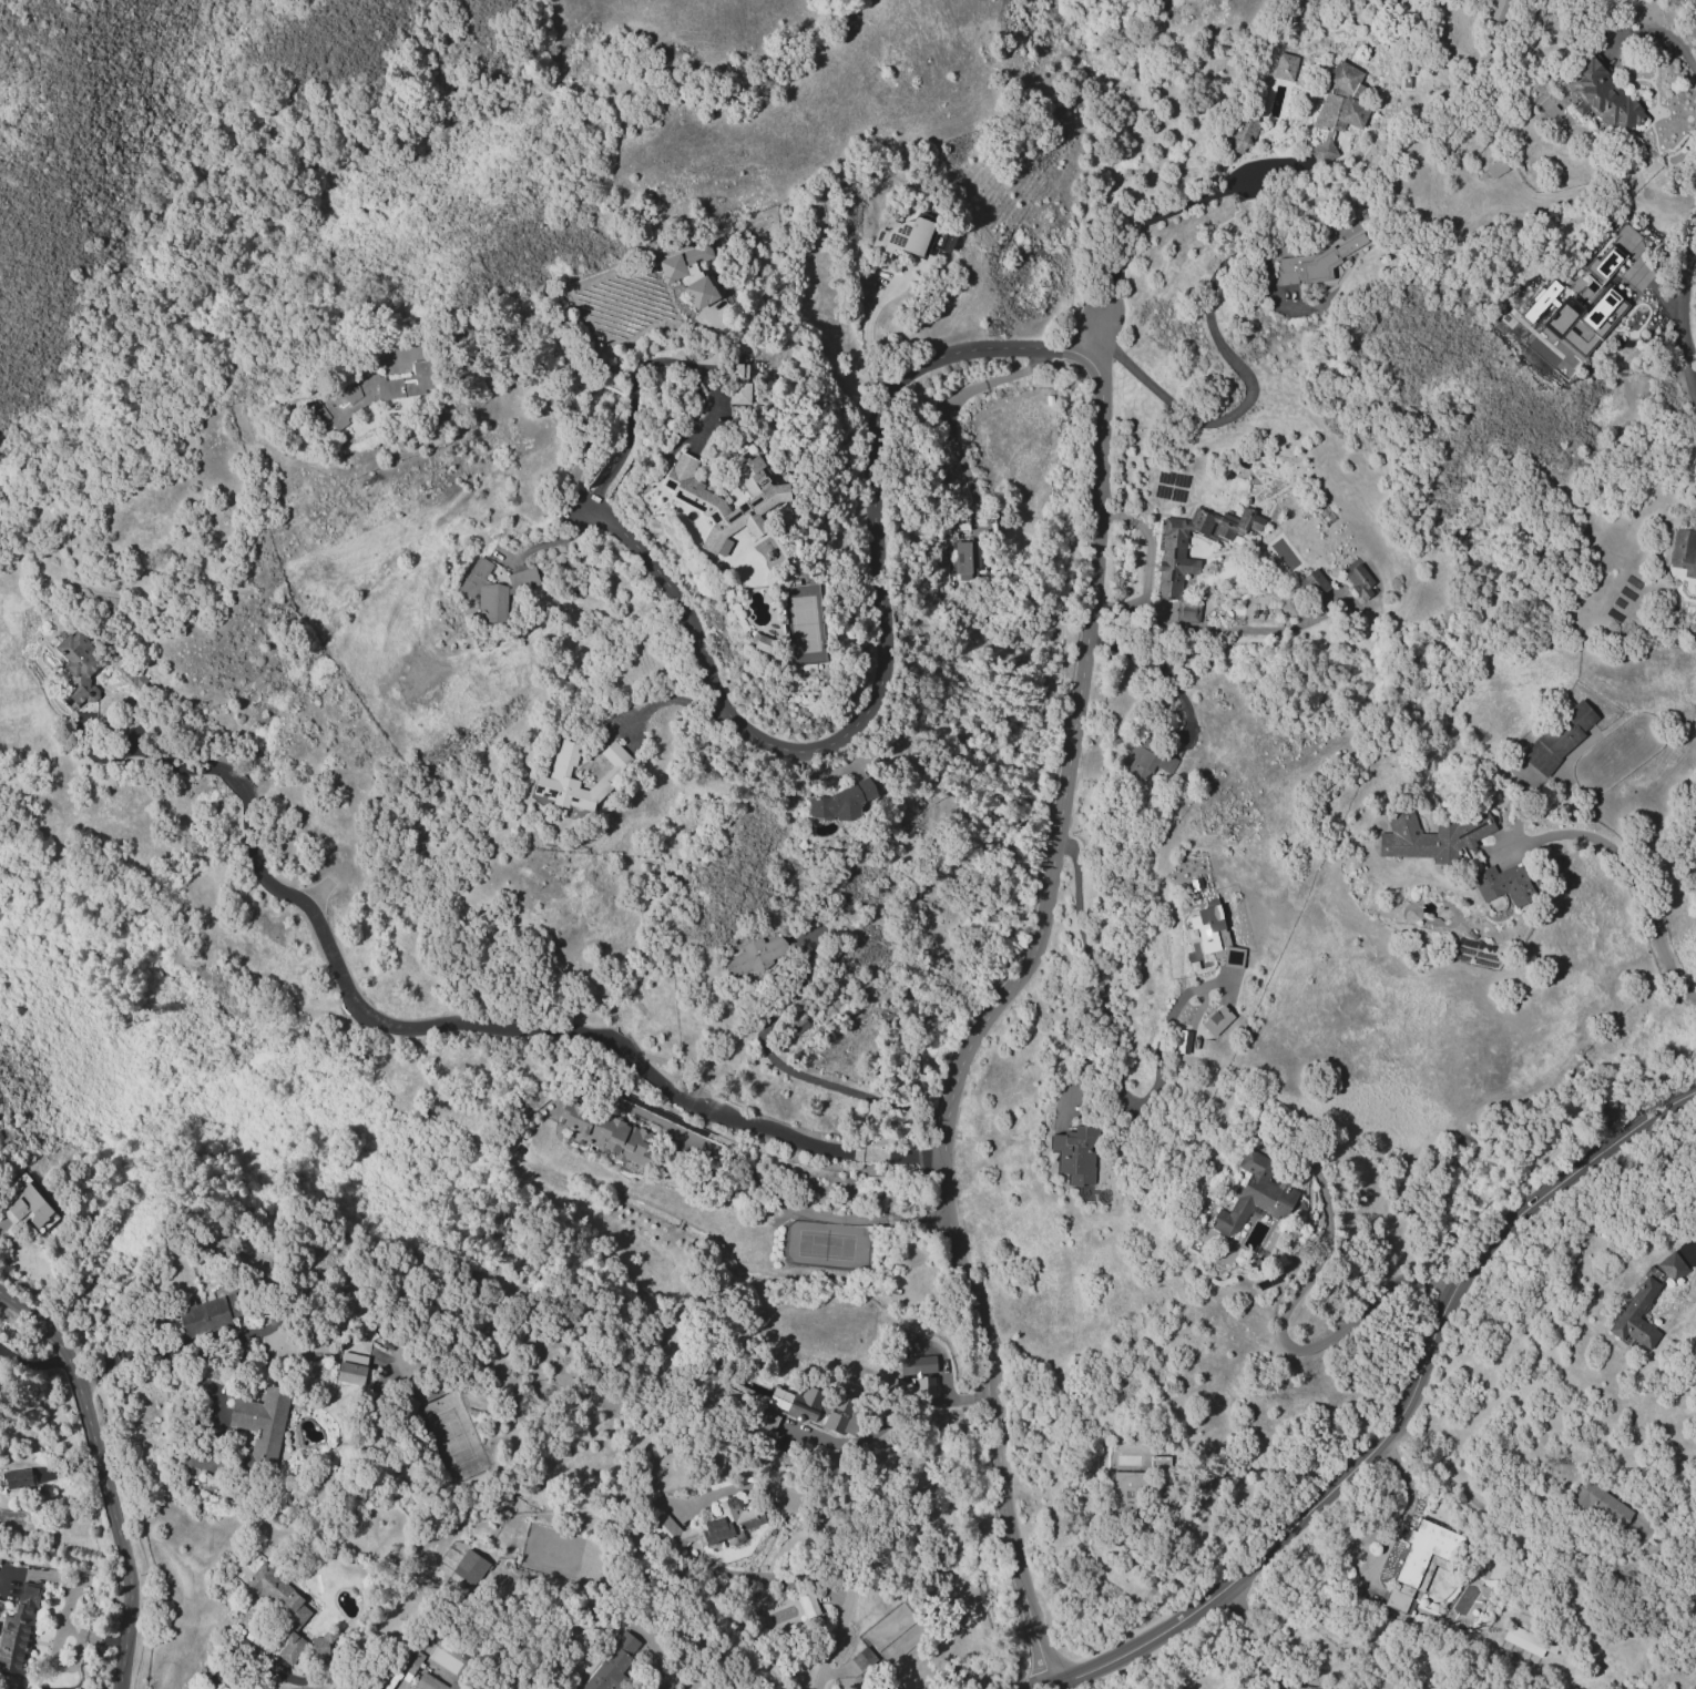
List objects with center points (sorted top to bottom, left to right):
building: (1496, 10)
road: (1682, 12)
road: (1652, 31)
building: (1284, 67)
road: (1118, 89)
building: (1602, 95)
building: (1336, 110)
building: (1240, 134)
building: (1494, 167)
road: (1144, 217)
building: (902, 236)
building: (947, 242)
building: (1611, 254)
building: (682, 262)
building: (1316, 263)
building: (699, 292)
building: (1539, 301)
road: (1682, 316)
building: (1580, 327)
road: (866, 328)
building: (737, 384)
building: (367, 395)
road: (629, 396)
road: (1248, 398)
road: (948, 409)
building: (758, 502)
road: (550, 542)
building: (1684, 552)
building: (964, 559)
building: (1177, 566)
building: (522, 579)
building: (1359, 582)
building: (1311, 583)
building: (483, 592)
road: (1218, 628)
building: (763, 644)
road: (883, 654)
building: (78, 668)
road: (1156, 672)
road: (666, 701)
building: (1560, 736)
building: (558, 775)
building: (840, 802)
building: (1430, 836)
road: (1635, 881)
building: (1503, 884)
building: (1213, 934)
building: (755, 957)
road: (1094, 968)
road: (990, 1008)
building: (1216, 1020)
road: (446, 1021)
road: (1163, 1031)
building: (1182, 1041)
road: (815, 1080)
building: (610, 1136)
building: (1076, 1158)
road: (772, 1192)
building: (1253, 1195)
building: (27, 1207)
road: (1690, 1250)
building: (1671, 1266)
building: (207, 1314)
building: (1635, 1315)
road: (1286, 1345)
road: (150, 1357)
building: (350, 1369)
building: (919, 1372)
building: (816, 1407)
road: (889, 1416)
road: (1394, 1416)
building: (765, 1421)
building: (260, 1424)
road: (1491, 1436)
road: (105, 1476)
building: (17, 1478)
building: (1126, 1493)
building: (1601, 1504)
road: (1404, 1508)
road: (1499, 1514)
building: (711, 1526)
building: (1419, 1560)
building: (468, 1567)
road: (814, 1579)
building: (807, 1604)
building: (280, 1608)
road: (1250, 1639)
building: (1528, 1641)
building: (320, 1646)
road: (253, 1651)
building: (409, 1660)
road: (658, 1660)
building: (865, 1660)
building: (611, 1663)
building: (430, 1682)
building: (1351, 1686)
road: (397, 1687)

